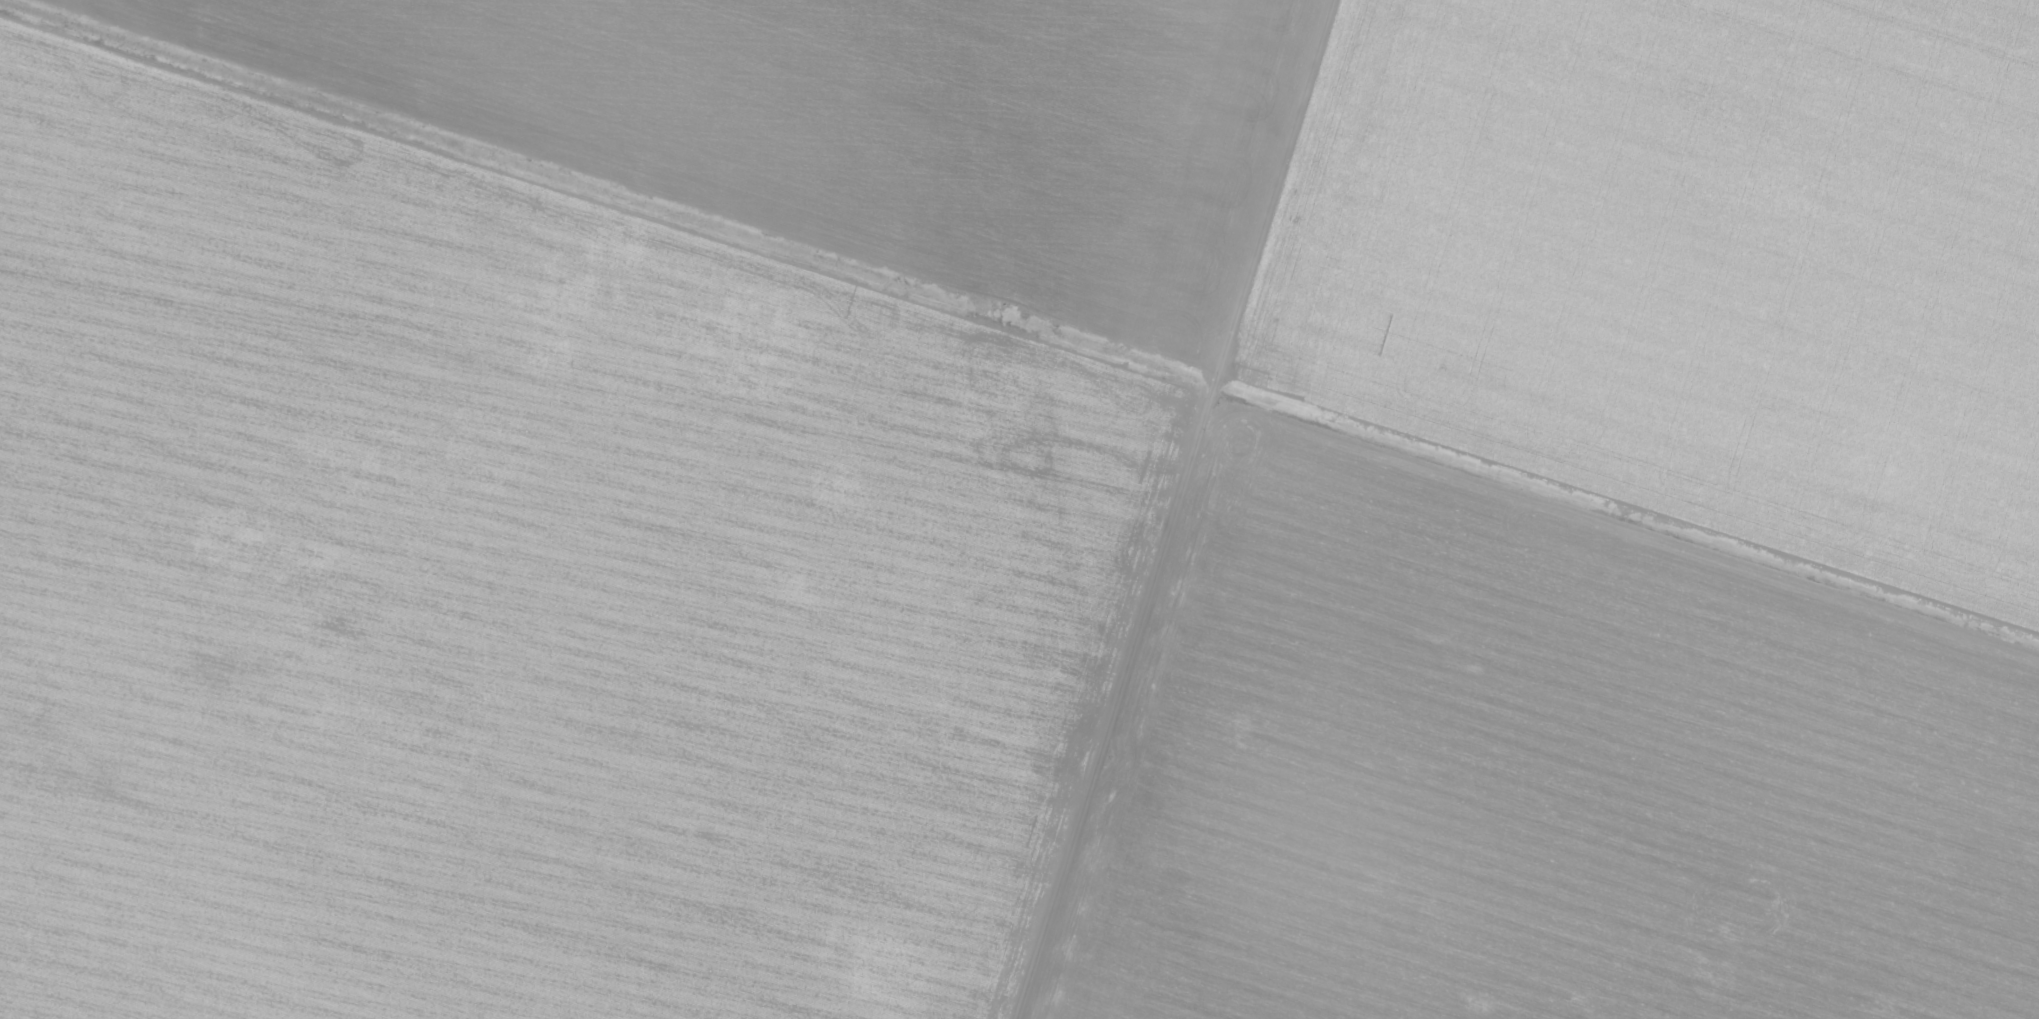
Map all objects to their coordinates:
road: (1017, 346)
road: (1177, 509)

